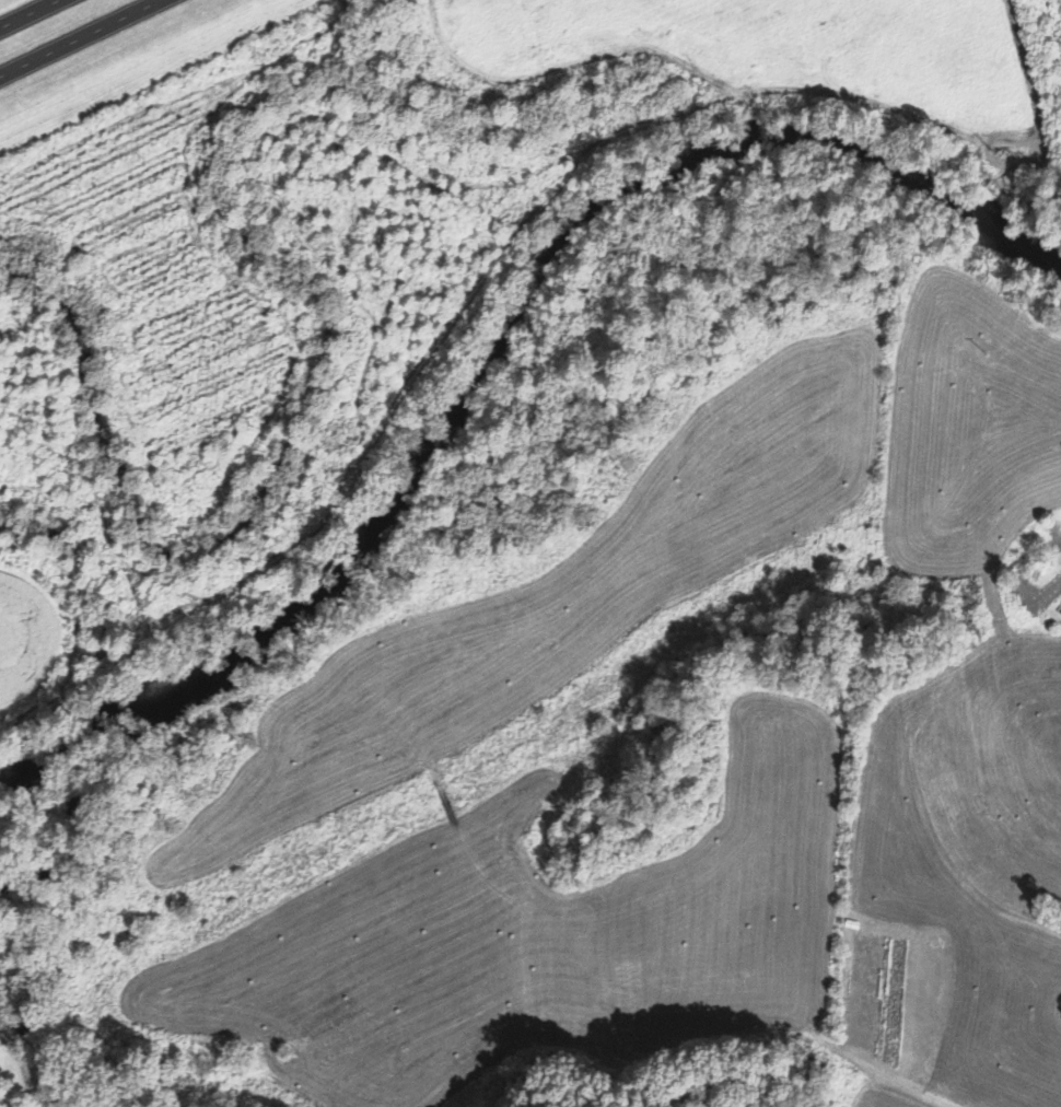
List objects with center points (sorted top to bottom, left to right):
crop: (1059, 4)
road: (30, 13)
road: (75, 36)
river: (619, 336)
river: (83, 818)

